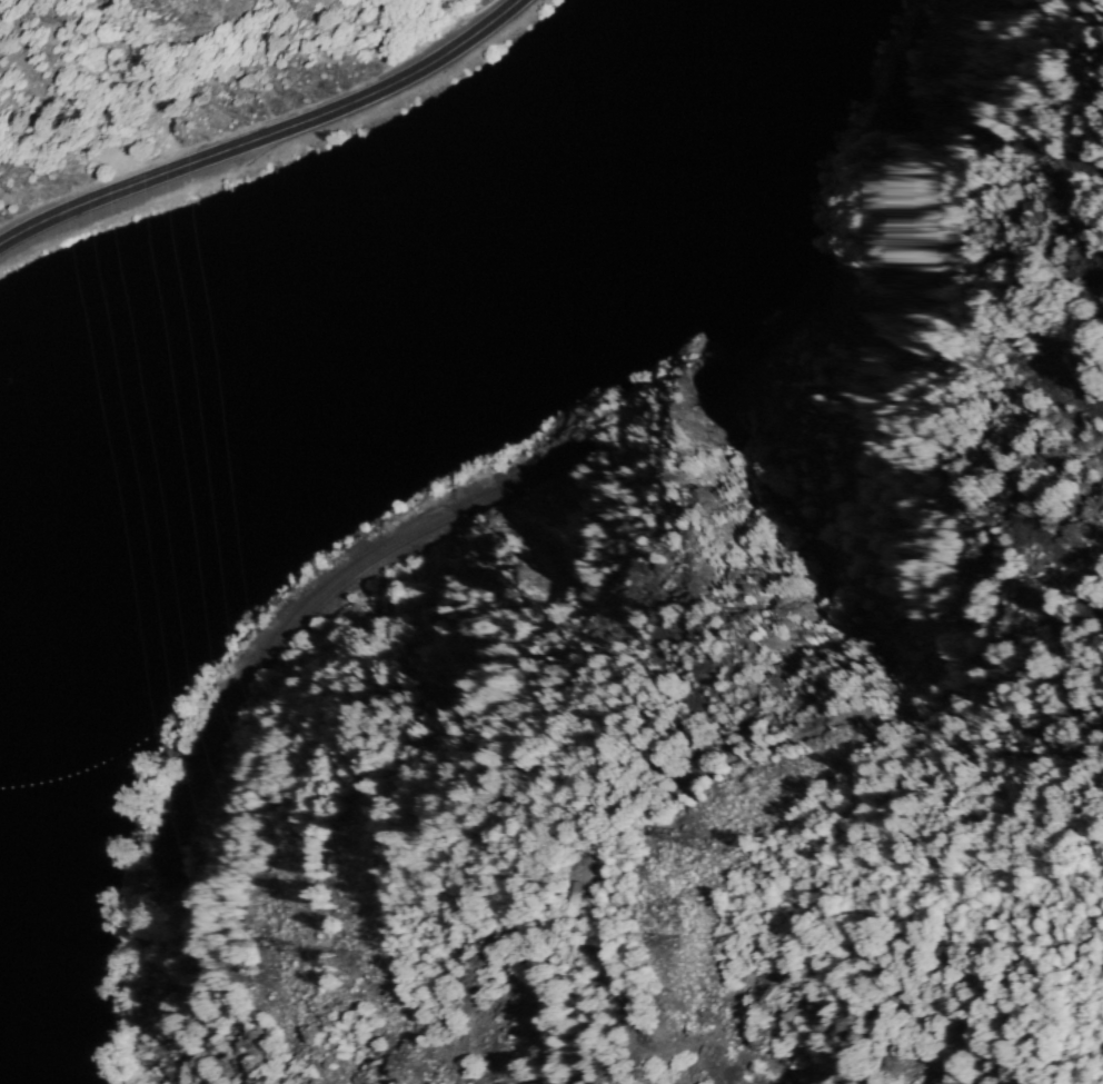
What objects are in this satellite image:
railway: (907, 58)
river: (648, 110)
road: (266, 133)
river: (504, 253)
river: (205, 400)
railway: (448, 511)
power tower: (1085, 531)
power tower: (697, 841)
power tower: (674, 945)
power tower: (357, 958)
power tower: (284, 978)

